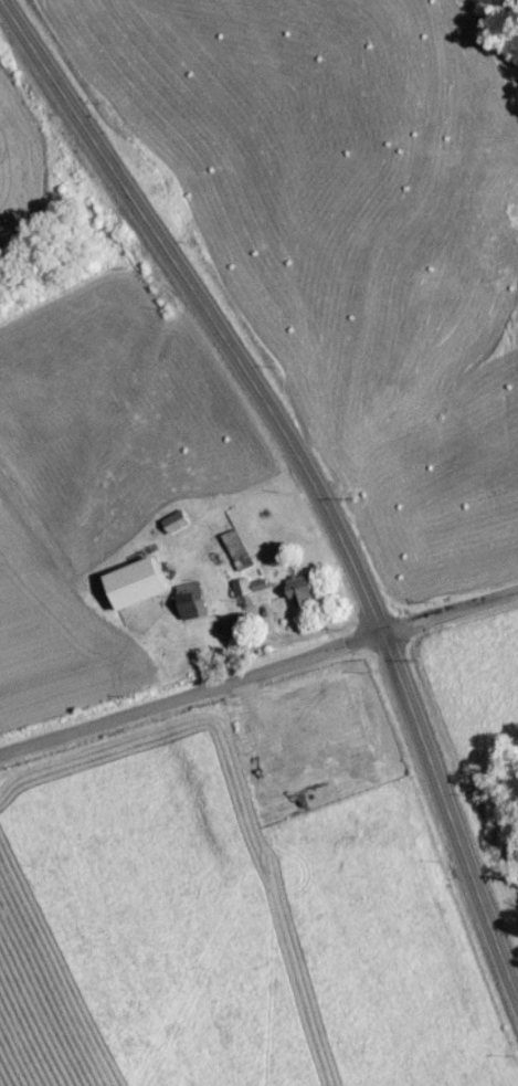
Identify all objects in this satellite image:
road: (308, 479)
building: (243, 593)
building: (191, 601)
road: (258, 678)

